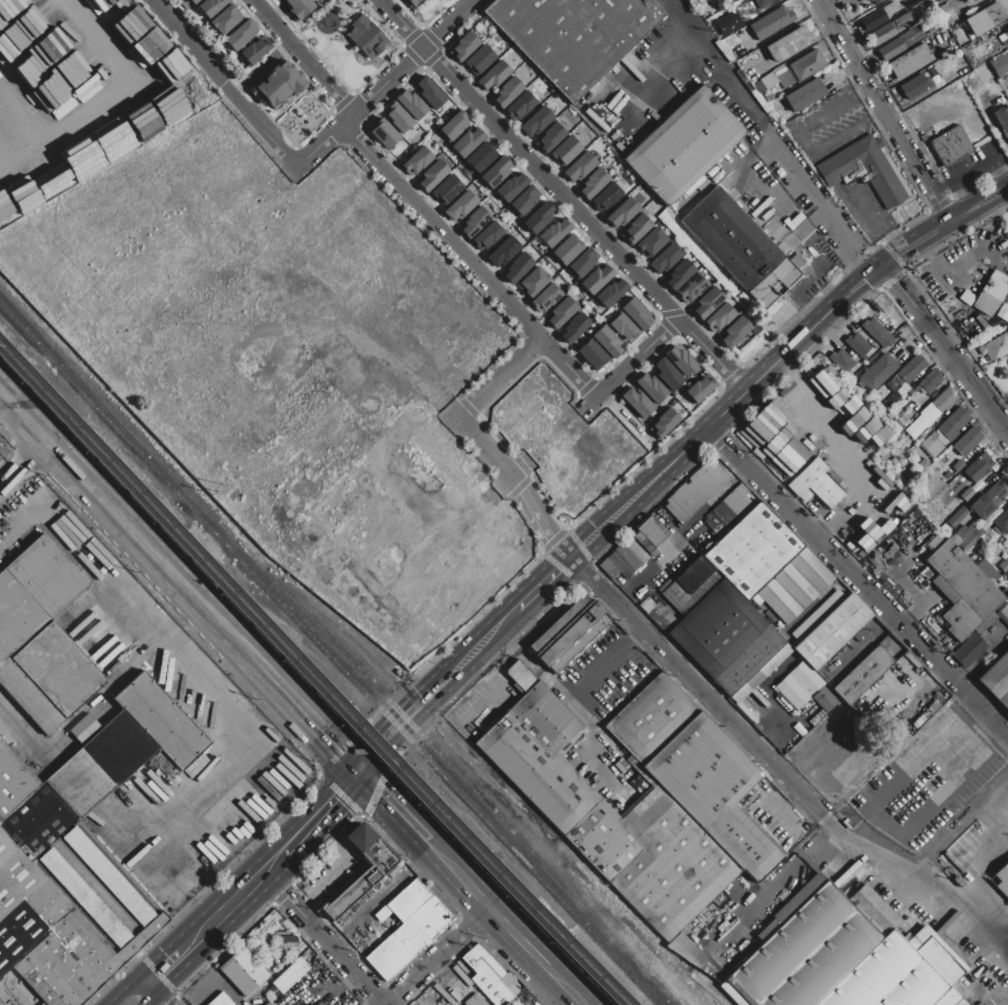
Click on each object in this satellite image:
building: (321, 0)
building: (194, 1)
building: (877, 1)
building: (967, 1)
building: (412, 3)
building: (765, 3)
road: (343, 6)
building: (211, 7)
building: (299, 8)
park: (432, 10)
road: (345, 12)
building: (946, 14)
building: (878, 16)
road: (681, 19)
building: (985, 19)
building: (225, 20)
building: (770, 23)
building: (1007, 27)
building: (892, 28)
road: (336, 31)
building: (1007, 31)
building: (240, 35)
building: (367, 36)
building: (575, 36)
building: (901, 43)
building: (788, 44)
building: (464, 46)
road: (322, 50)
building: (254, 51)
road: (305, 56)
building: (480, 59)
road: (408, 61)
building: (910, 61)
building: (999, 64)
building: (807, 65)
road: (264, 69)
building: (494, 75)
building: (66, 78)
road: (223, 84)
building: (281, 85)
building: (915, 86)
road: (644, 89)
building: (507, 91)
building: (429, 93)
building: (804, 94)
road: (290, 101)
road: (102, 103)
building: (411, 104)
building: (520, 105)
road: (885, 111)
building: (397, 117)
building: (1002, 120)
building: (537, 121)
building: (452, 128)
building: (383, 133)
road: (771, 134)
building: (550, 136)
building: (468, 141)
road: (801, 142)
road: (319, 146)
building: (687, 146)
building: (951, 146)
building: (566, 150)
road: (13, 152)
building: (479, 158)
building: (415, 160)
road: (530, 160)
road: (977, 160)
building: (580, 166)
building: (867, 171)
building: (495, 172)
building: (431, 175)
building: (593, 183)
building: (512, 186)
building: (447, 189)
road: (966, 190)
building: (607, 197)
building: (524, 201)
building: (461, 206)
building: (623, 211)
building: (539, 217)
building: (475, 221)
road: (878, 225)
building: (636, 228)
building: (554, 232)
building: (487, 236)
building: (652, 241)
building: (742, 248)
building: (567, 249)
building: (504, 251)
building: (665, 257)
traffic signals: (897, 257)
road: (470, 260)
building: (582, 263)
building: (518, 268)
building: (1000, 269)
building: (679, 273)
building: (596, 279)
traffic signals: (867, 279)
building: (533, 281)
traffic signals: (897, 281)
building: (693, 287)
building: (610, 292)
building: (990, 294)
building: (545, 298)
building: (707, 302)
building: (561, 312)
building: (636, 313)
building: (720, 317)
building: (574, 327)
building: (624, 329)
building: (735, 331)
building: (876, 332)
building: (606, 342)
building: (856, 345)
road: (946, 347)
building: (995, 347)
building: (591, 355)
road: (714, 356)
building: (680, 360)
road: (780, 361)
building: (840, 361)
road: (630, 365)
building: (906, 372)
building: (877, 373)
building: (666, 374)
road: (500, 378)
building: (930, 381)
building: (650, 389)
building: (699, 389)
building: (898, 393)
building: (912, 393)
building: (637, 402)
building: (930, 414)
railway: (80, 417)
road: (1004, 419)
building: (663, 423)
building: (946, 431)
building: (967, 441)
building: (773, 445)
road: (826, 449)
road: (491, 453)
road: (24, 464)
building: (922, 465)
building: (956, 466)
building: (977, 467)
building: (814, 483)
building: (695, 490)
building: (966, 494)
building: (988, 500)
building: (956, 517)
road: (123, 520)
building: (1001, 522)
road: (545, 526)
building: (652, 532)
building: (961, 534)
building: (1007, 535)
building: (970, 540)
building: (645, 544)
building: (635, 550)
building: (753, 550)
road: (89, 556)
building: (975, 557)
building: (627, 558)
building: (1006, 561)
building: (619, 565)
building: (609, 569)
building: (987, 571)
building: (693, 574)
road: (857, 577)
road: (544, 585)
building: (795, 585)
building: (705, 586)
building: (962, 591)
building: (678, 598)
building: (658, 614)
building: (1003, 614)
road: (507, 616)
railway: (309, 625)
building: (718, 628)
building: (828, 628)
building: (568, 633)
building: (42, 637)
building: (967, 649)
railway: (329, 654)
road: (454, 654)
building: (845, 657)
building: (752, 664)
building: (862, 674)
railway: (317, 677)
building: (997, 679)
railway: (311, 683)
building: (799, 685)
railway: (387, 699)
road: (434, 702)
road: (224, 705)
road: (297, 706)
road: (574, 711)
road: (379, 725)
road: (1005, 727)
building: (83, 728)
traffic signals: (369, 736)
traffic signals: (337, 748)
building: (695, 769)
road: (356, 770)
road: (785, 778)
railway: (487, 779)
parking lot: (925, 786)
traffic signals: (379, 794)
traffic signals: (345, 806)
road: (339, 811)
road: (396, 811)
building: (606, 815)
road: (887, 828)
road: (300, 853)
building: (77, 856)
building: (360, 871)
road: (459, 876)
building: (1001, 879)
road: (225, 883)
road: (769, 885)
building: (408, 927)
road: (320, 931)
road: (215, 934)
road: (519, 937)
building: (685, 951)
road: (439, 957)
building: (847, 958)
railway: (677, 961)
building: (244, 972)
building: (290, 975)
building: (486, 975)
road: (566, 985)
road: (149, 988)
building: (220, 1000)
building: (473, 1001)
building: (267, 1003)
building: (507, 1004)

